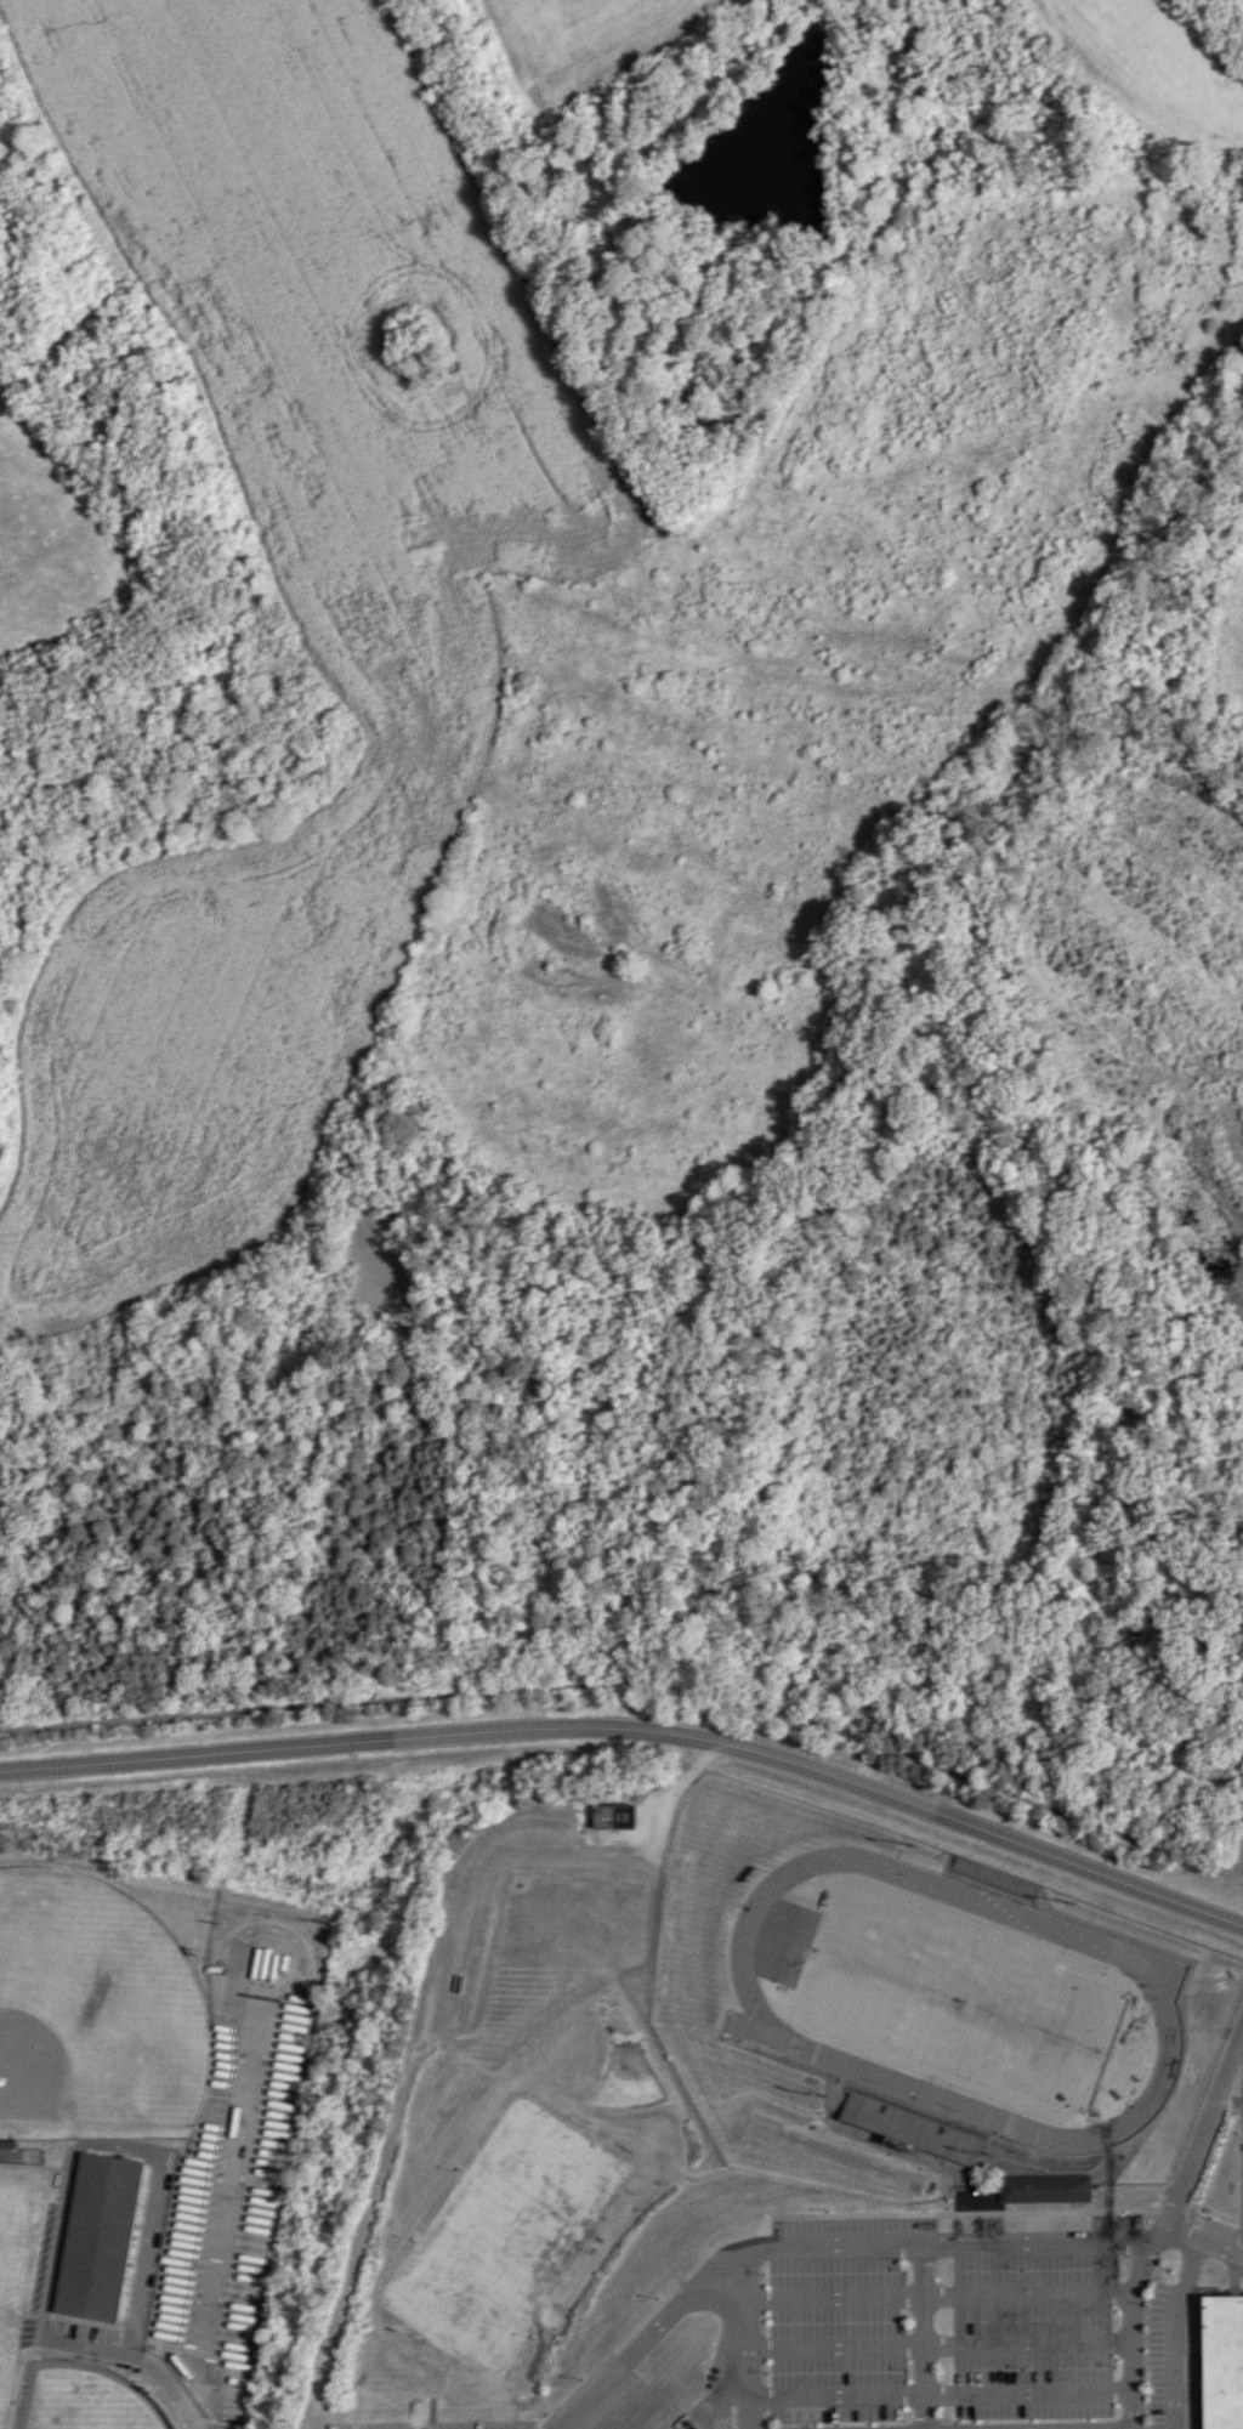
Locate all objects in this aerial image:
road: (636, 1684)
road: (636, 1727)
building: (607, 1815)
parking lot: (1241, 1862)
track: (1160, 1996)
park: (954, 1999)
park: (96, 2014)
road: (1204, 2118)
road: (266, 2178)
building: (1046, 2187)
road: (1160, 2227)
building: (100, 2236)
road: (1201, 2238)
road: (861, 2247)
park: (12, 2268)
road: (942, 2297)
road: (1135, 2333)
road: (649, 2334)
road: (925, 2337)
road: (941, 2348)
road: (147, 2355)
building: (1222, 2361)
road: (942, 2393)
park: (87, 2399)

